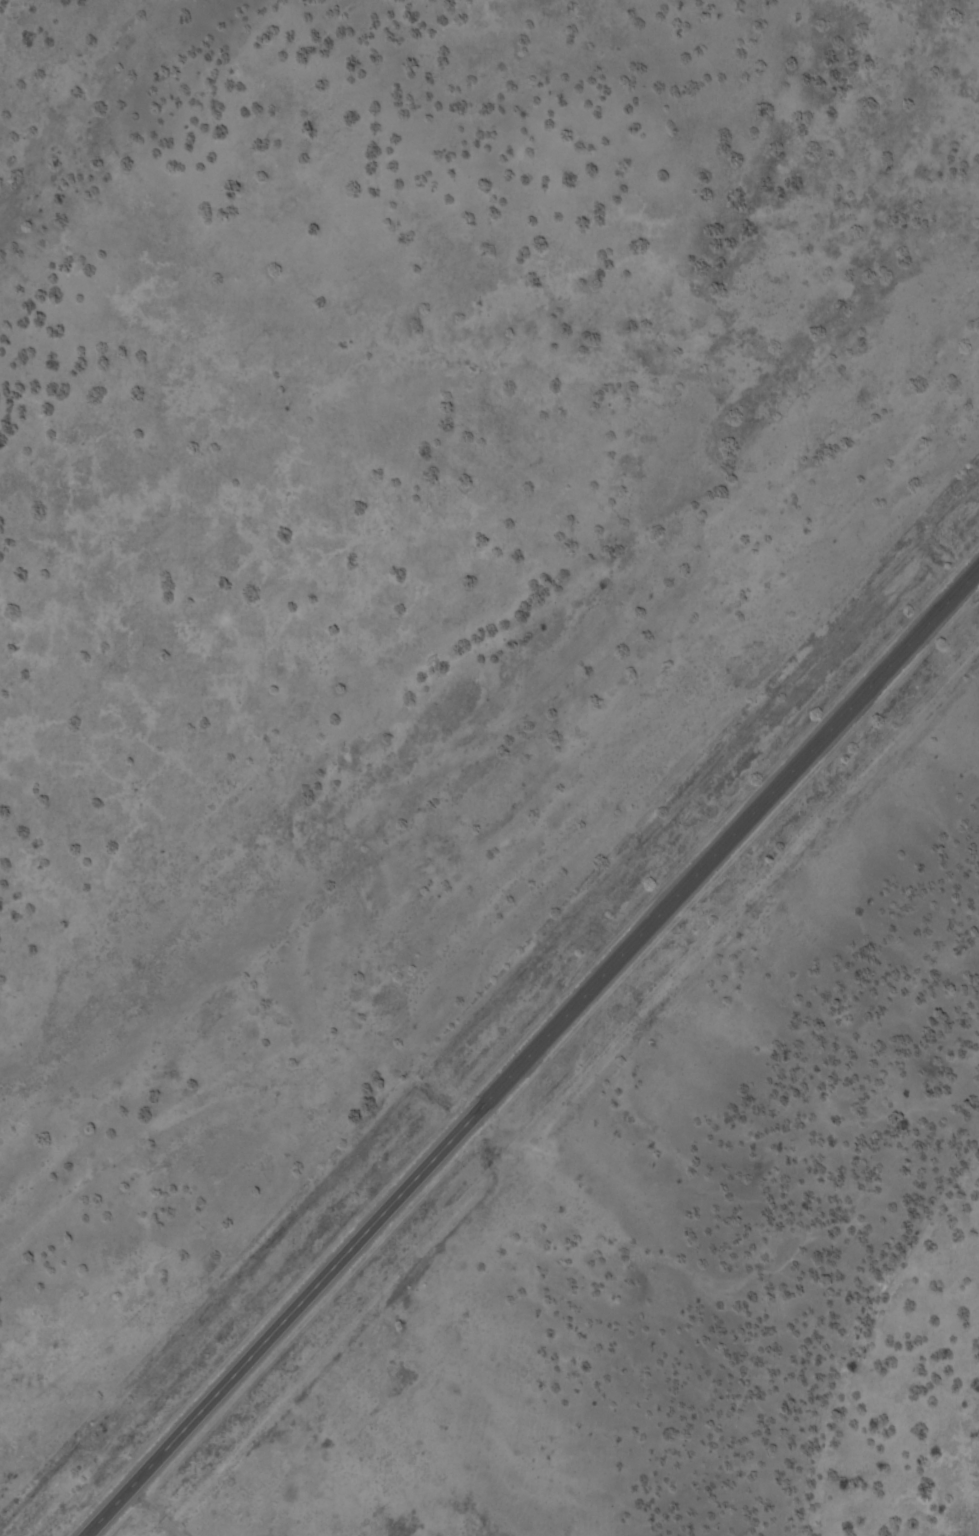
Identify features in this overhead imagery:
road: (530, 1051)
road: (155, 1512)

